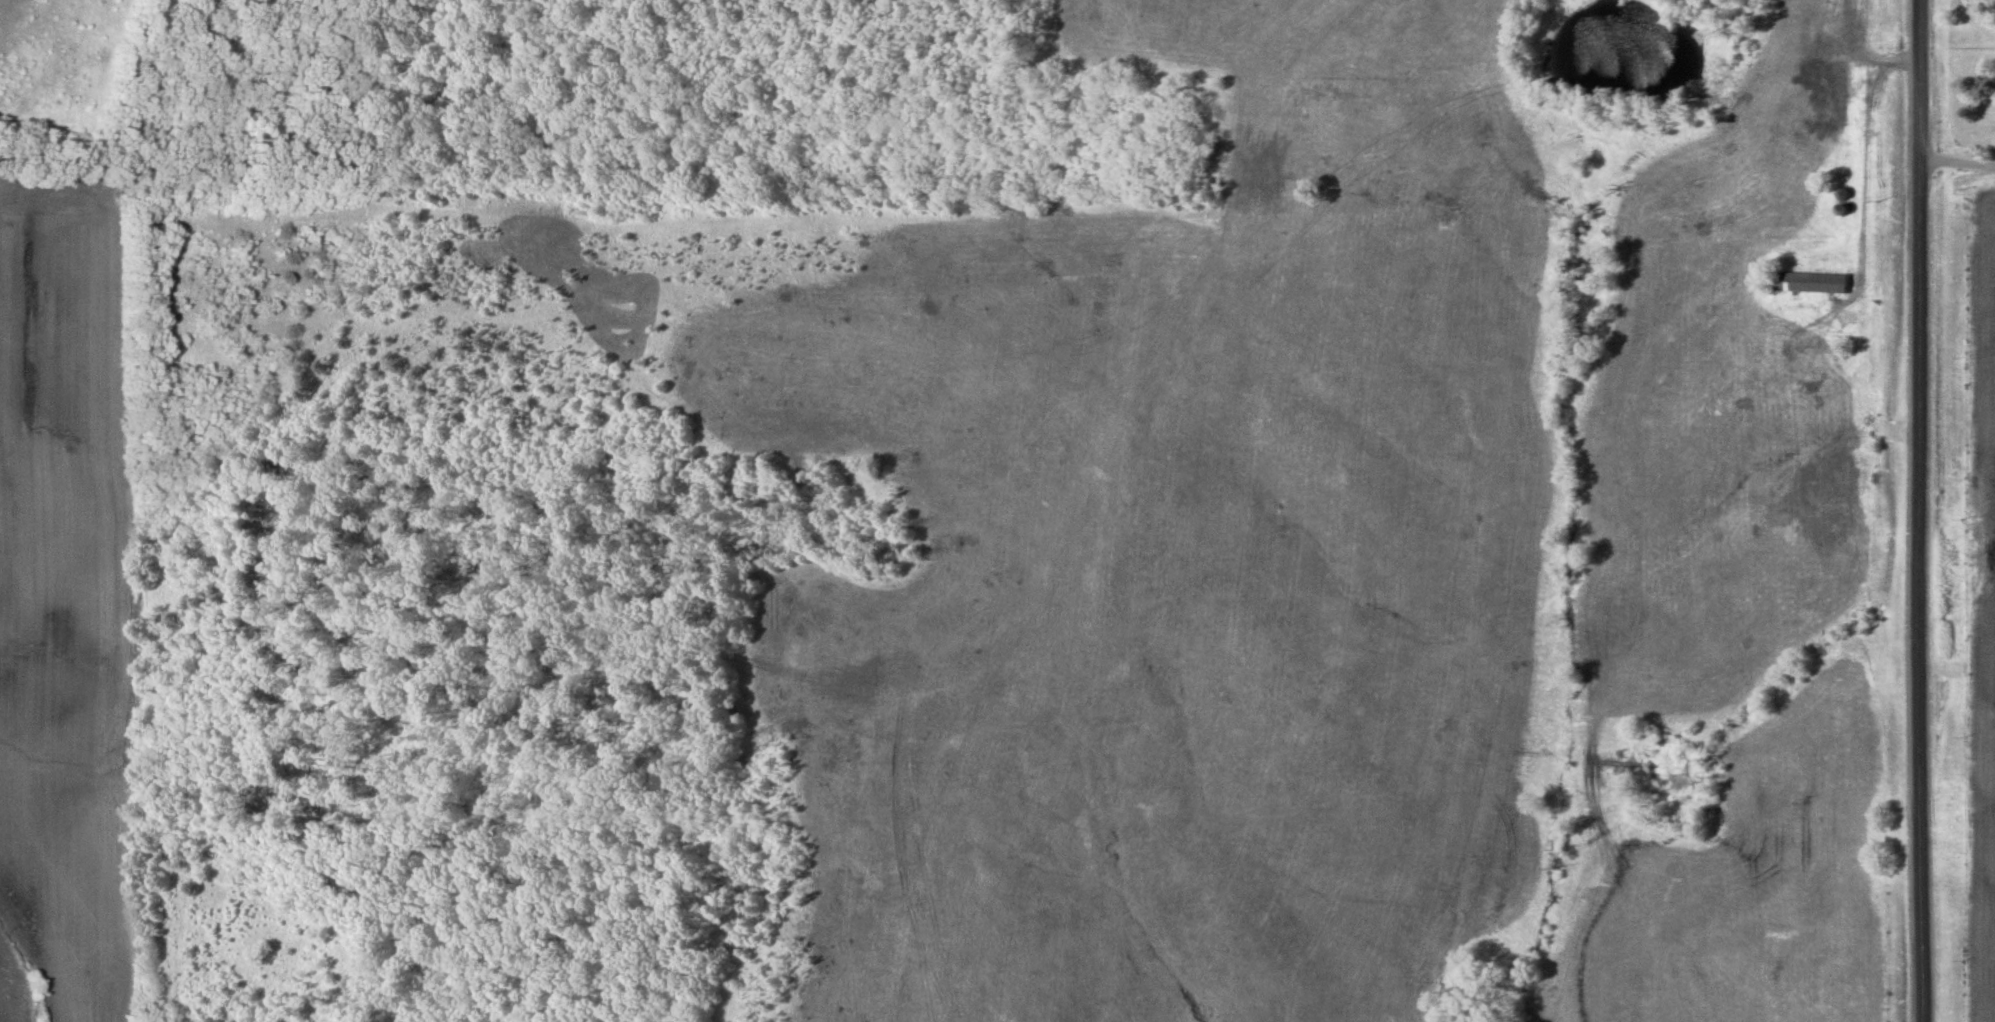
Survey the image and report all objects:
road: (1958, 163)
building: (1819, 283)
road: (1921, 511)

